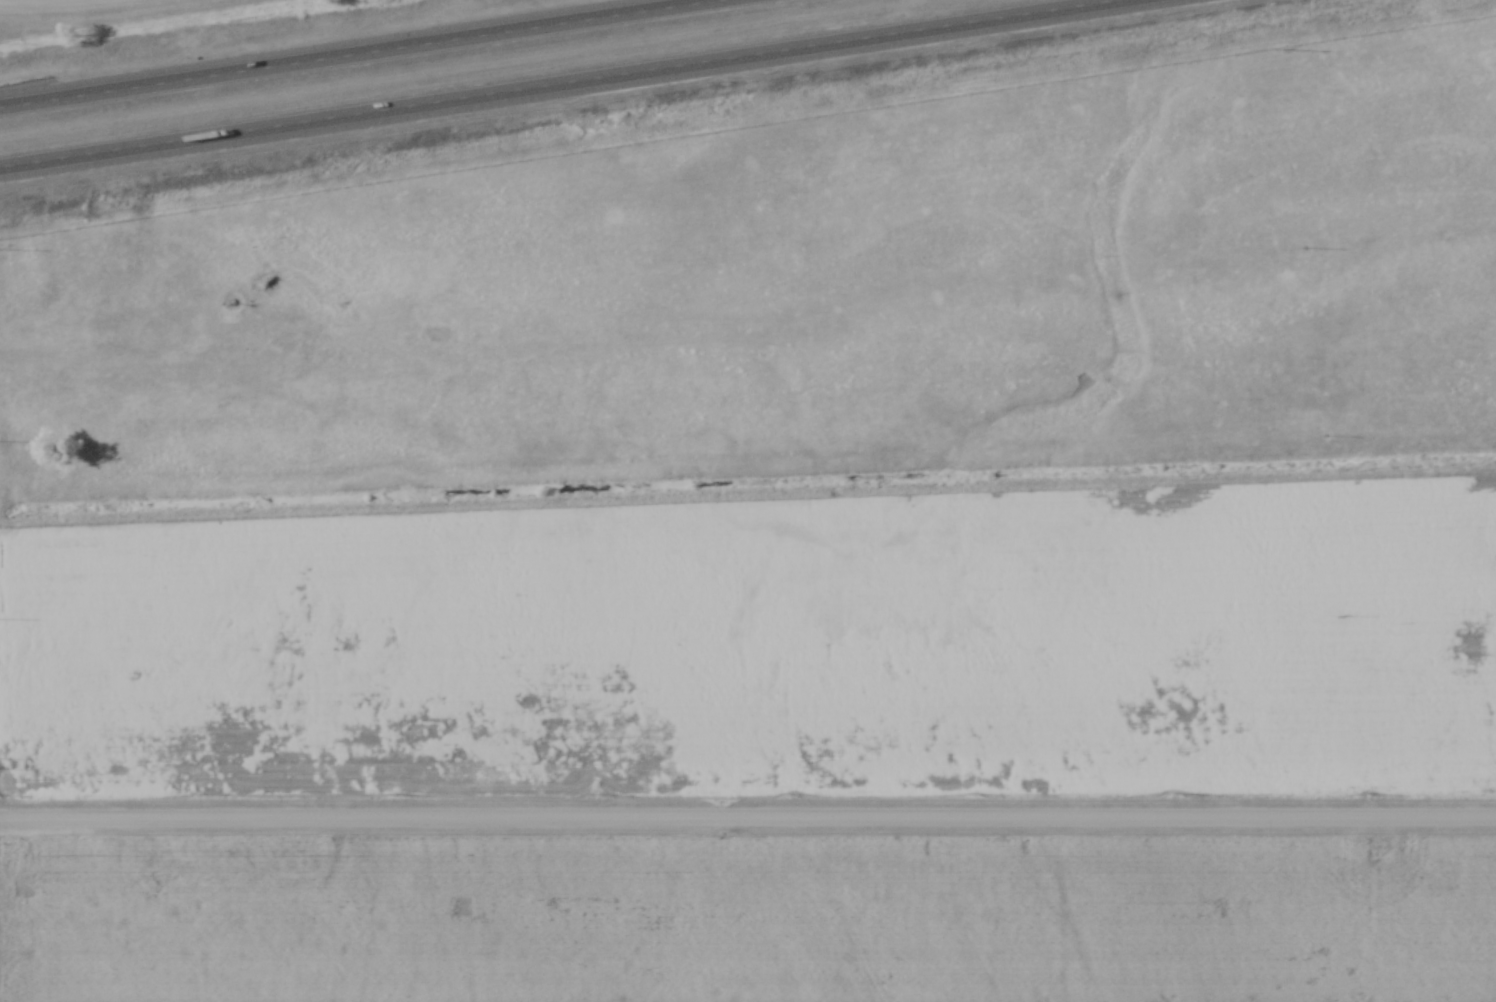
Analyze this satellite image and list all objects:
road: (56, 5)
road: (349, 52)
road: (560, 83)
road: (748, 820)

